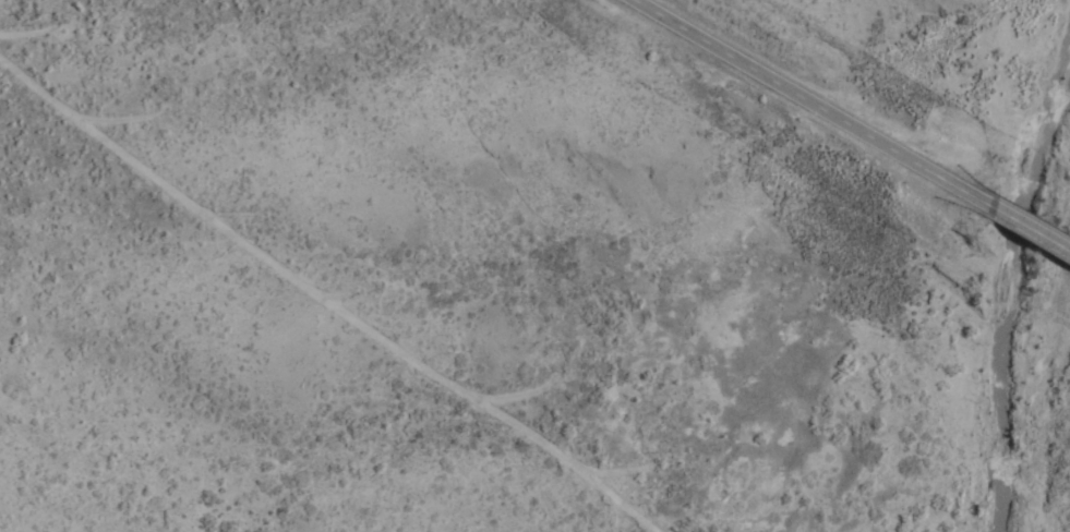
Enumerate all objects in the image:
road: (813, 105)
road: (1031, 229)

